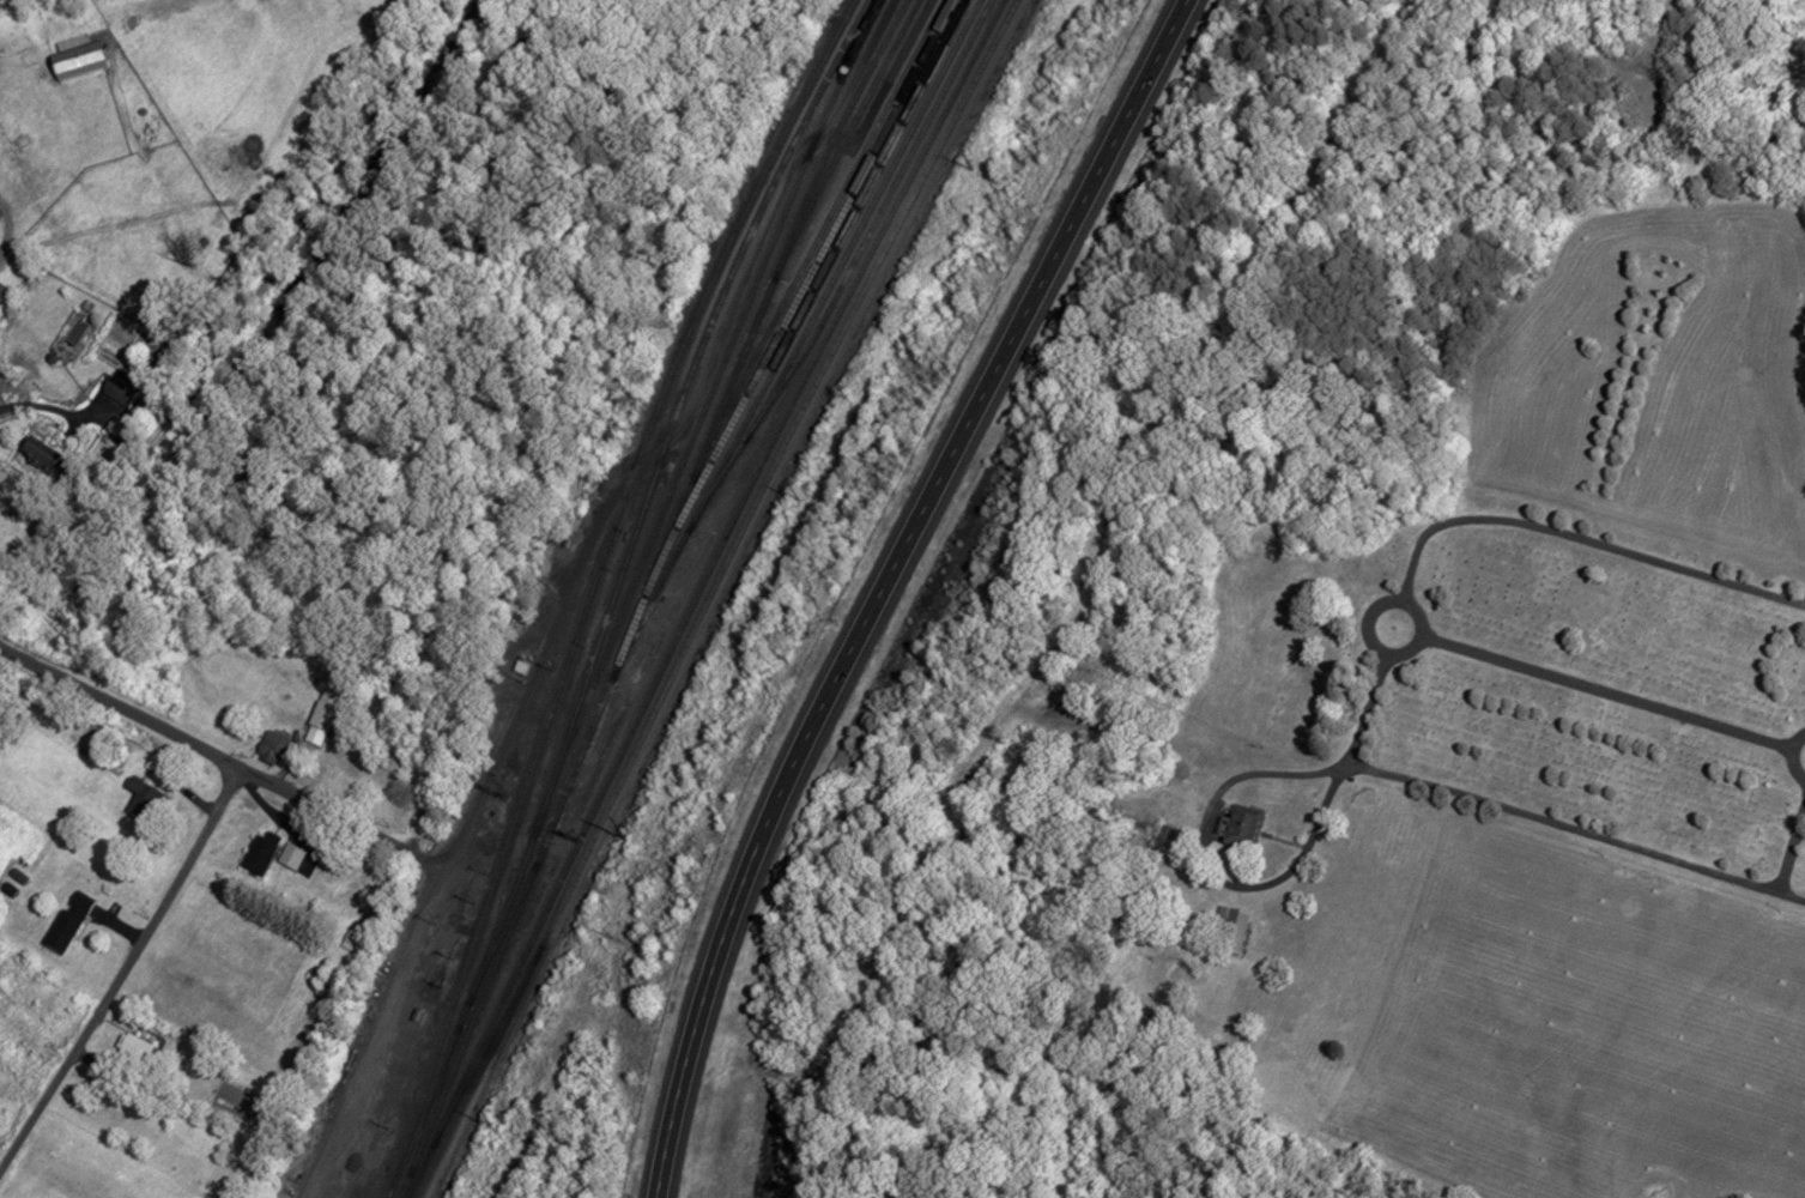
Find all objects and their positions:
railway: (852, 129)
railway: (868, 212)
railway: (822, 232)
railway: (854, 261)
building: (832, 272)
railway: (776, 276)
road: (1032, 295)
road: (238, 325)
railway: (794, 329)
building: (120, 387)
railway: (711, 393)
road: (46, 404)
railway: (774, 467)
road: (1581, 539)
railway: (709, 568)
railway: (649, 586)
railway: (593, 587)
railway: (616, 593)
road: (1401, 600)
park: (1514, 649)
building: (520, 666)
road: (1607, 692)
building: (323, 708)
road: (1363, 714)
building: (269, 745)
road: (208, 752)
road: (1792, 757)
building: (155, 760)
building: (135, 792)
railway: (571, 806)
building: (1240, 824)
road: (1573, 829)
road: (1792, 851)
building: (259, 852)
building: (291, 855)
road: (1207, 867)
road: (740, 884)
building: (67, 920)
building: (1228, 928)
railway: (503, 932)
building: (353, 939)
road: (123, 973)
building: (133, 1045)
railway: (487, 1045)
railway: (481, 1070)
railway: (434, 1103)
railway: (419, 1172)

